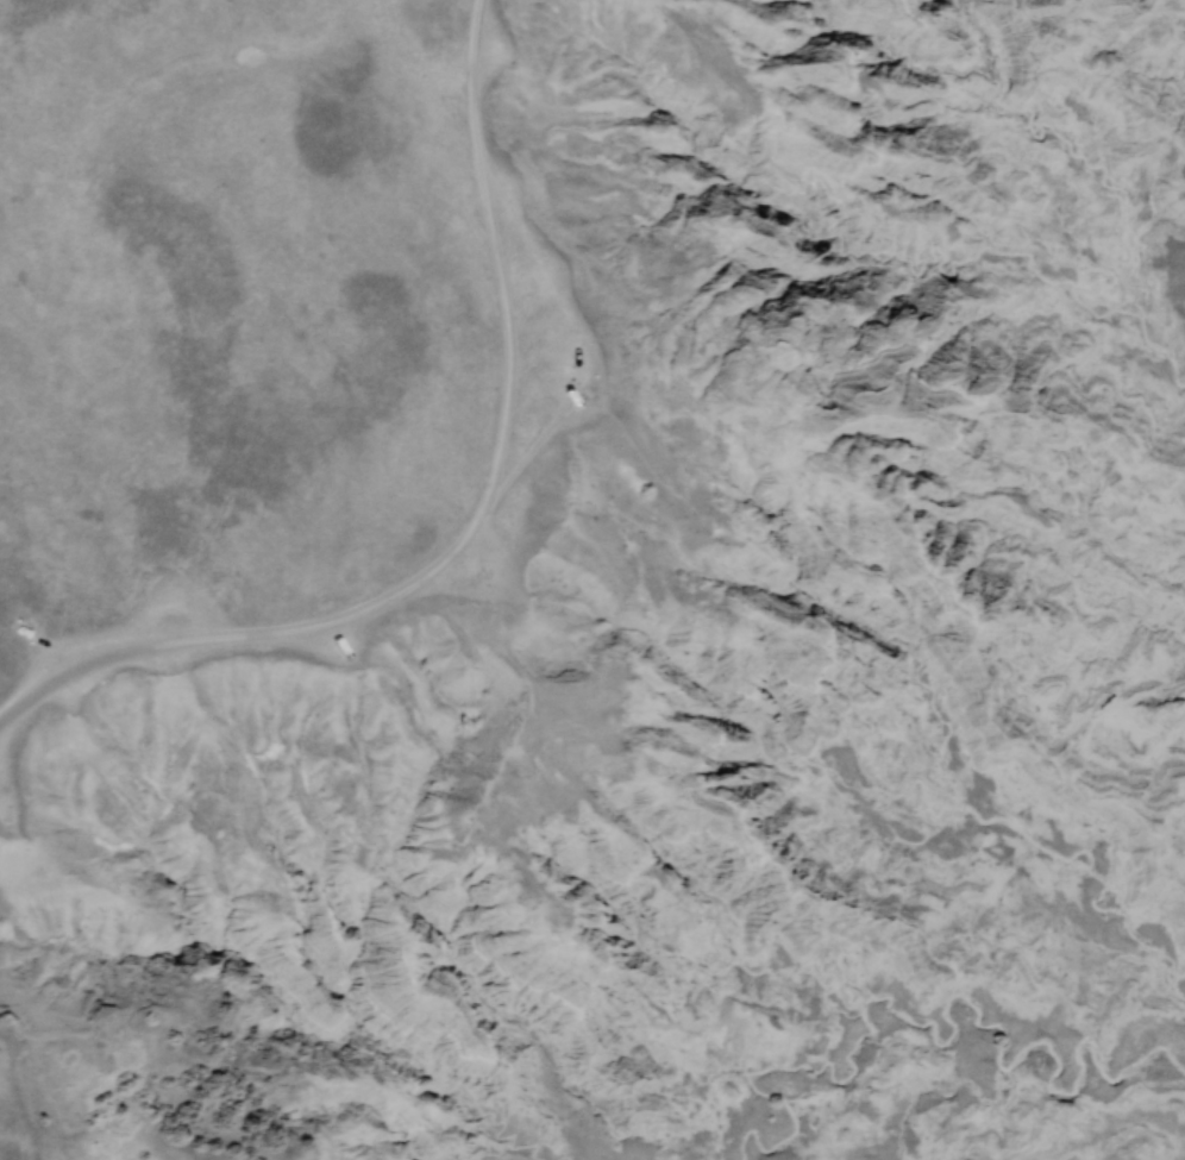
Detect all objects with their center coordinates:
road: (490, 500)

